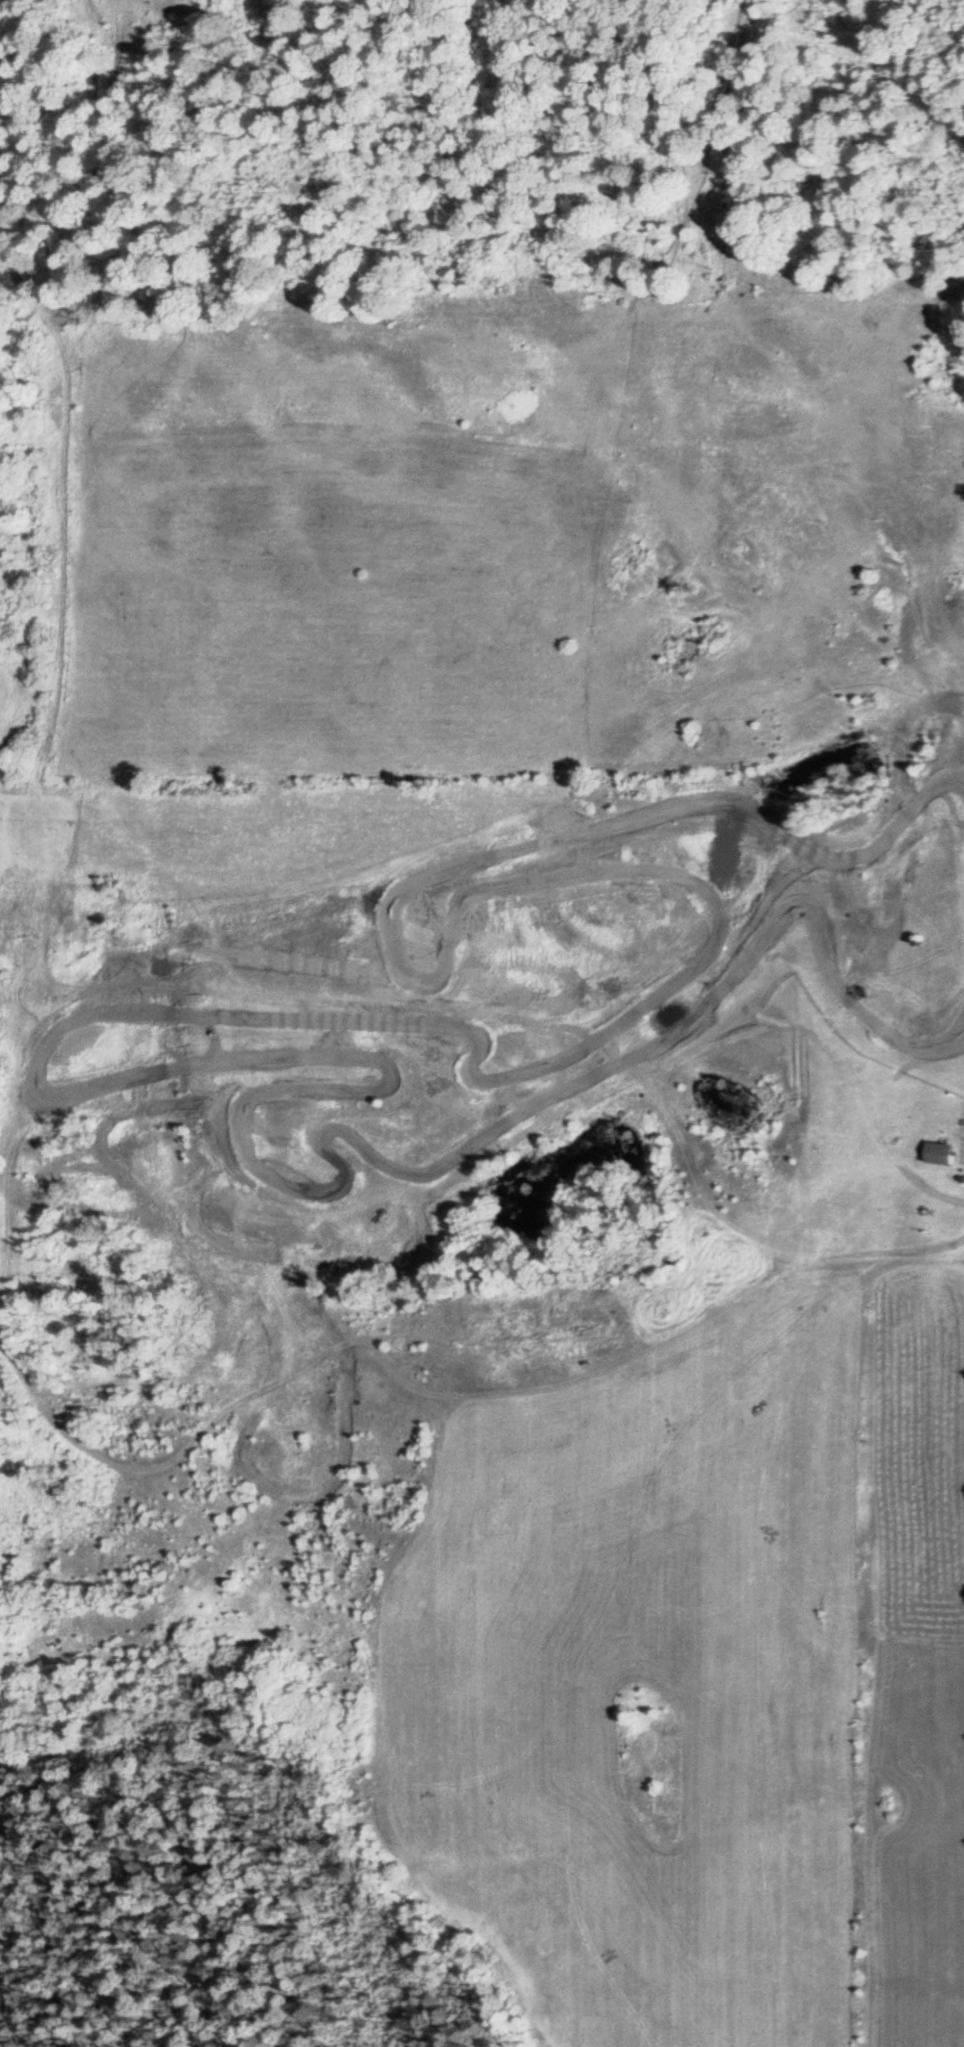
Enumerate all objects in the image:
building: (937, 1154)

